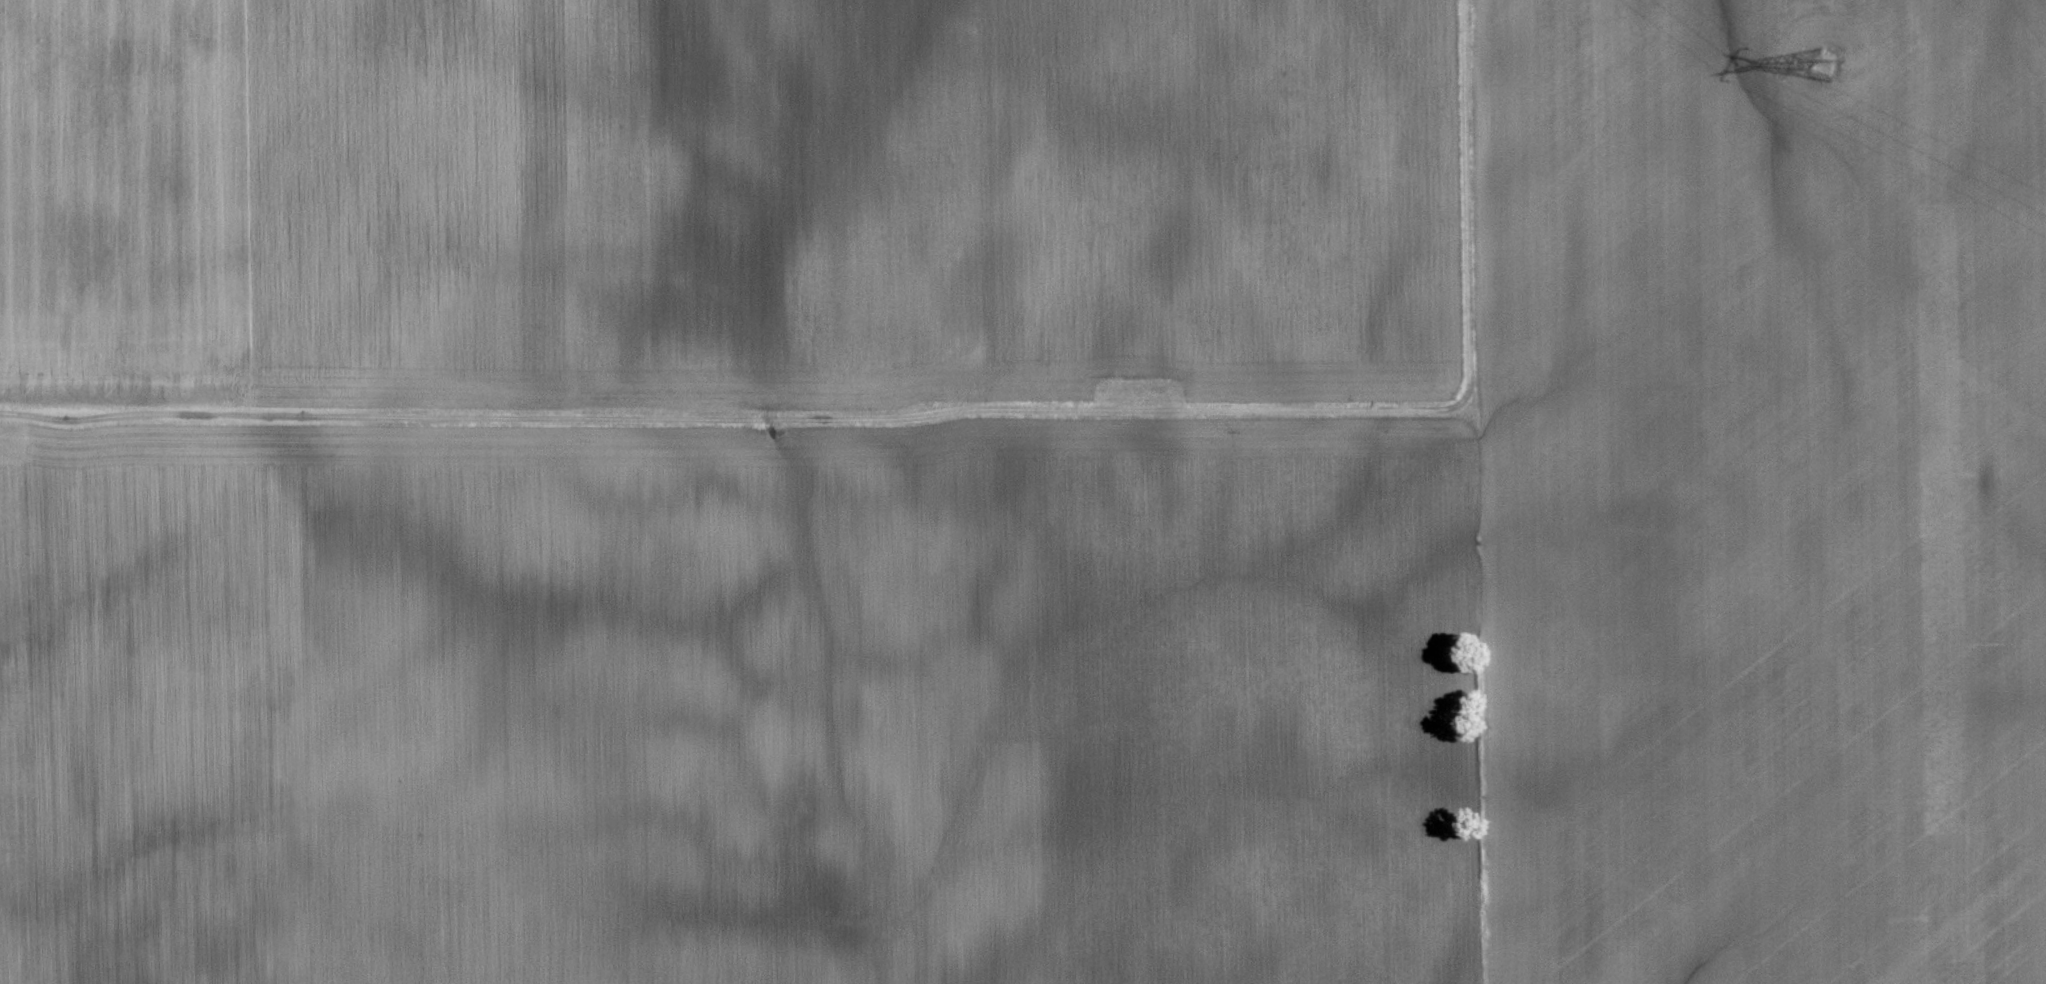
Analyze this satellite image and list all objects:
power tower: (1826, 64)
road: (929, 413)

